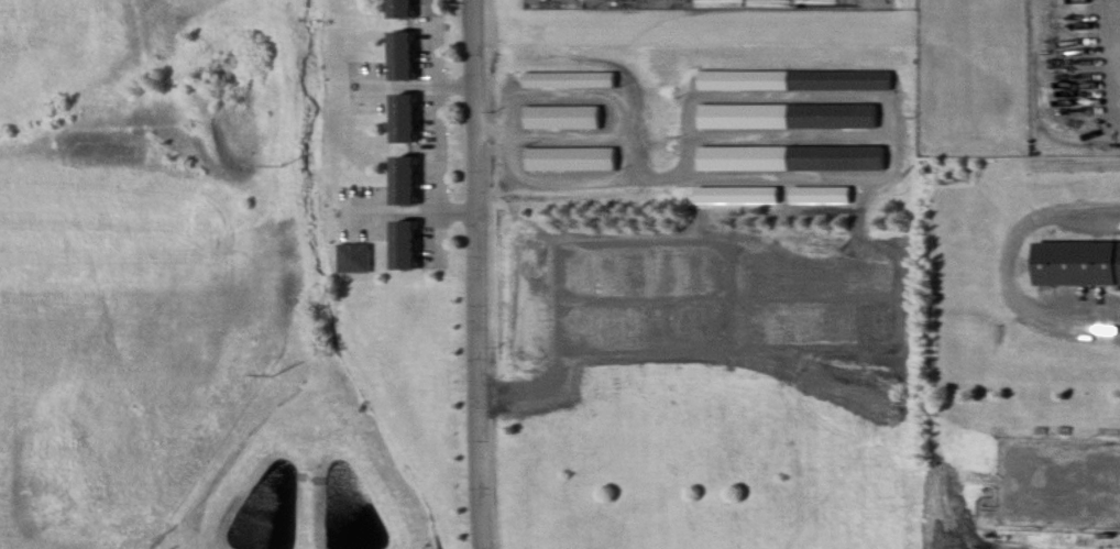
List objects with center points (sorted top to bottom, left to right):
building: (402, 8)
building: (402, 54)
building: (572, 79)
building: (795, 80)
road: (594, 98)
road: (693, 102)
building: (790, 116)
building: (403, 117)
building: (563, 118)
road: (433, 121)
road: (573, 136)
road: (794, 136)
building: (788, 157)
building: (571, 158)
building: (402, 179)
road: (554, 182)
building: (404, 245)
building: (353, 259)
road: (1013, 262)
building: (1076, 263)
road: (474, 274)
road: (980, 414)

